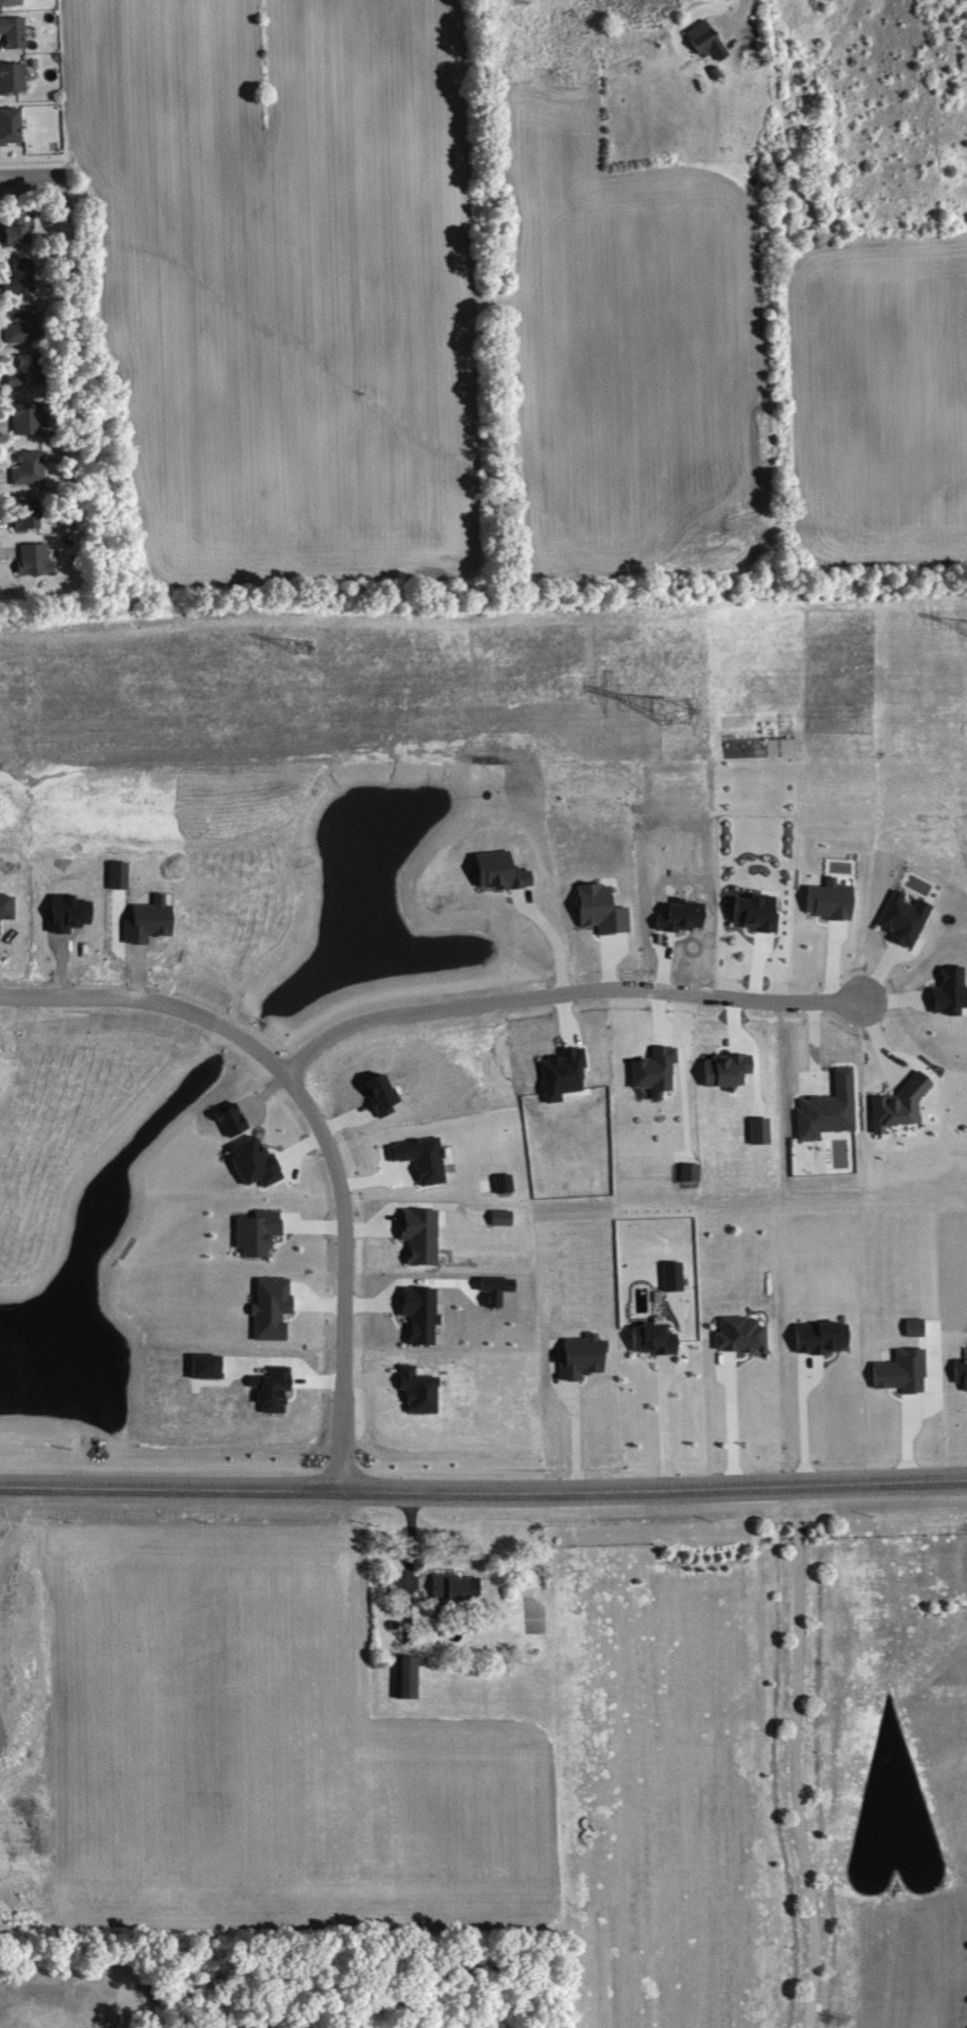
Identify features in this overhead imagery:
building: (12, 2)
road: (747, 9)
building: (15, 31)
building: (707, 38)
building: (14, 77)
building: (12, 125)
road: (32, 181)
building: (18, 229)
building: (26, 276)
building: (11, 286)
building: (25, 323)
building: (30, 371)
building: (29, 418)
building: (32, 469)
building: (30, 514)
building: (37, 558)
power tower: (300, 646)
power tower: (672, 715)
building: (502, 871)
building: (832, 900)
building: (759, 913)
building: (907, 919)
road: (558, 941)
building: (951, 992)
road: (566, 994)
building: (729, 1070)
building: (658, 1071)
building: (901, 1106)
building: (831, 1109)
road: (319, 1126)
building: (762, 1131)
building: (426, 1159)
building: (257, 1162)
building: (506, 1184)
building: (260, 1233)
building: (423, 1235)
building: (675, 1277)
building: (498, 1290)
building: (274, 1308)
building: (422, 1313)
building: (917, 1327)
building: (743, 1335)
building: (824, 1337)
building: (656, 1339)
building: (905, 1372)
building: (962, 1372)
building: (275, 1389)
building: (421, 1391)
road: (922, 1411)
road: (807, 1425)
road: (735, 1426)
road: (668, 1428)
road: (575, 1440)
road: (483, 1494)
road: (408, 1557)
building: (450, 1591)
building: (409, 1677)
road: (799, 1759)

